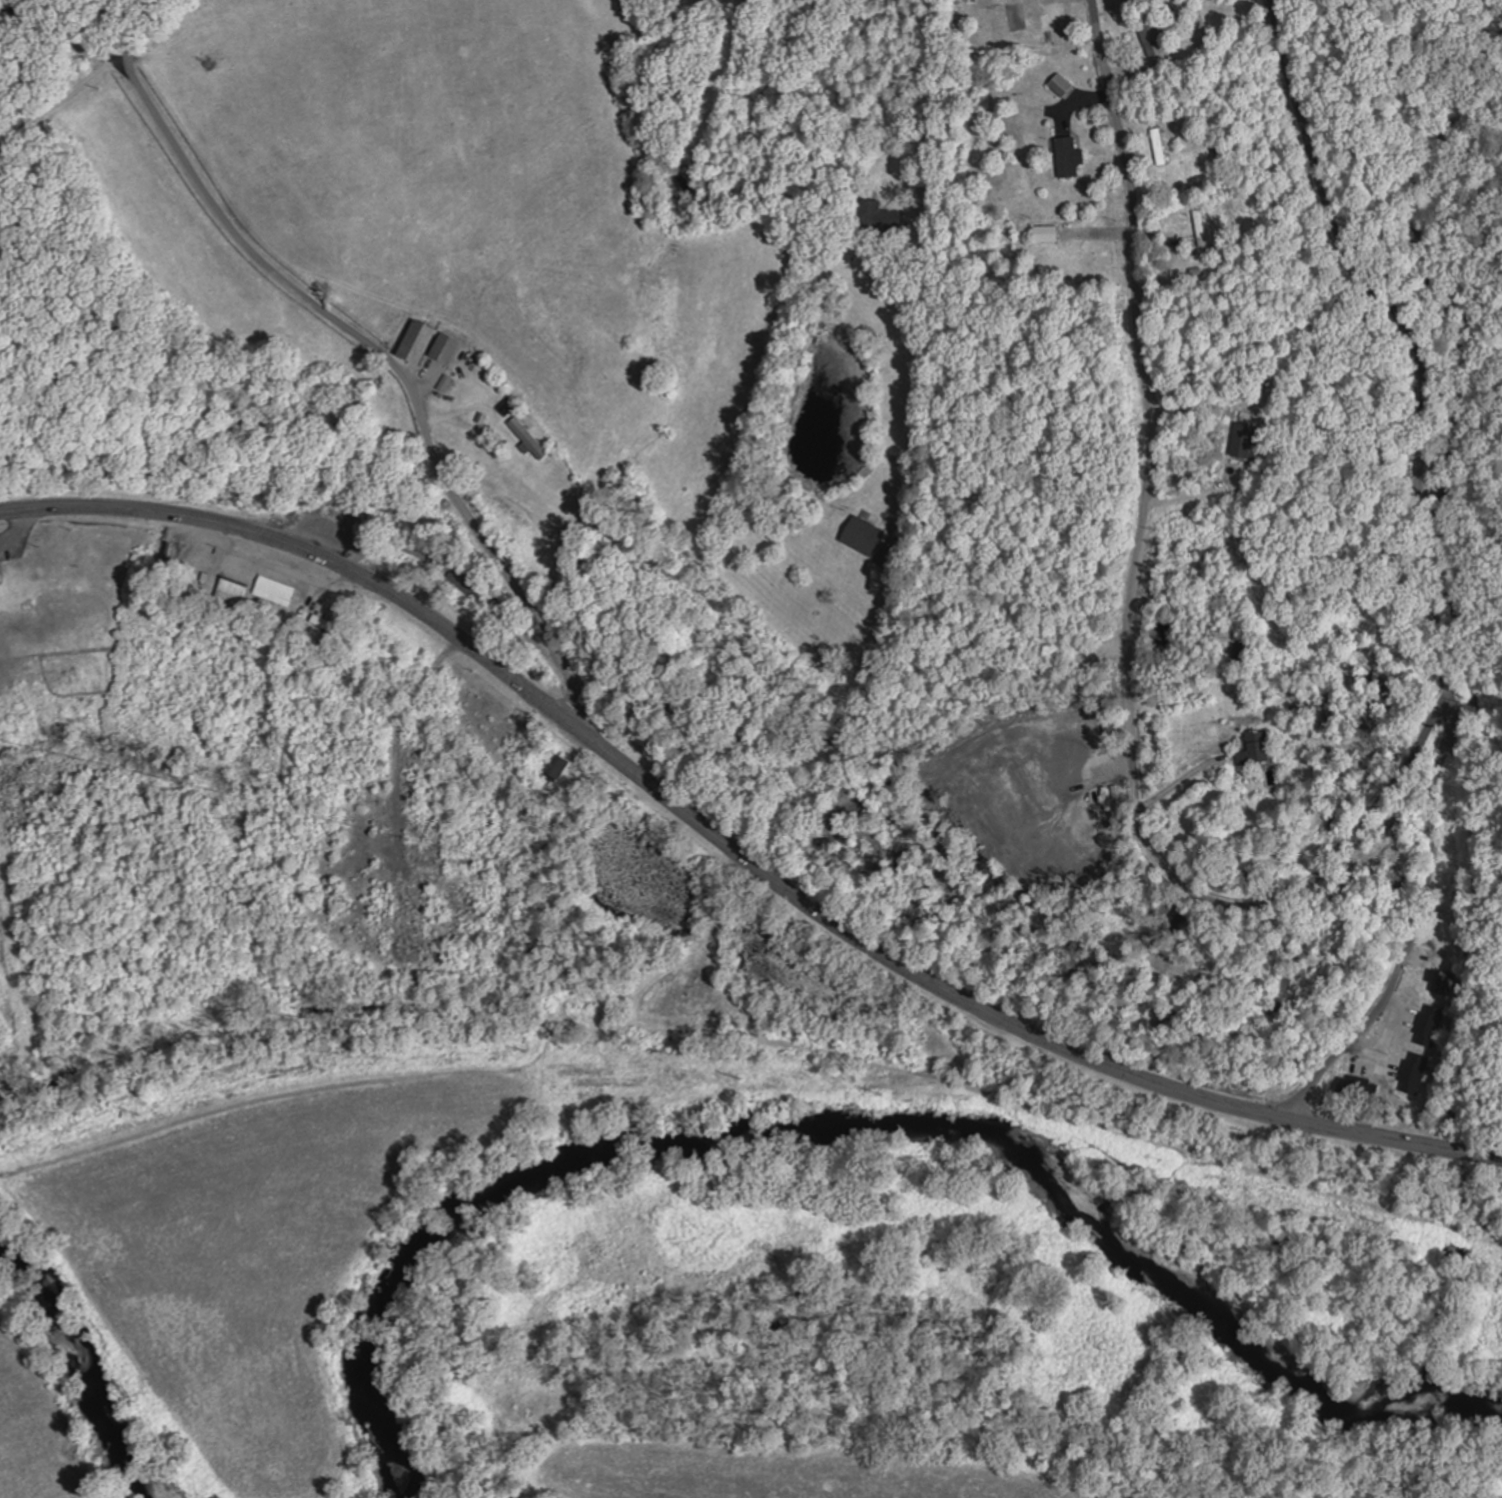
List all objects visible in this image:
building: (1037, 22)
building: (1151, 35)
building: (1060, 85)
building: (1158, 147)
building: (1065, 157)
building: (876, 218)
building: (1043, 234)
road: (1355, 249)
building: (1093, 258)
building: (413, 341)
road: (369, 345)
building: (444, 348)
building: (1175, 406)
building: (527, 438)
building: (1240, 439)
road: (22, 528)
building: (860, 534)
road: (279, 562)
building: (461, 580)
road: (1432, 587)
building: (273, 590)
building: (229, 591)
road: (877, 618)
building: (319, 620)
road: (1129, 628)
building: (1235, 645)
building: (1251, 747)
building: (553, 766)
building: (438, 804)
road: (735, 851)
building: (1444, 978)
building: (1418, 1028)
river: (861, 1125)
river: (85, 1365)

